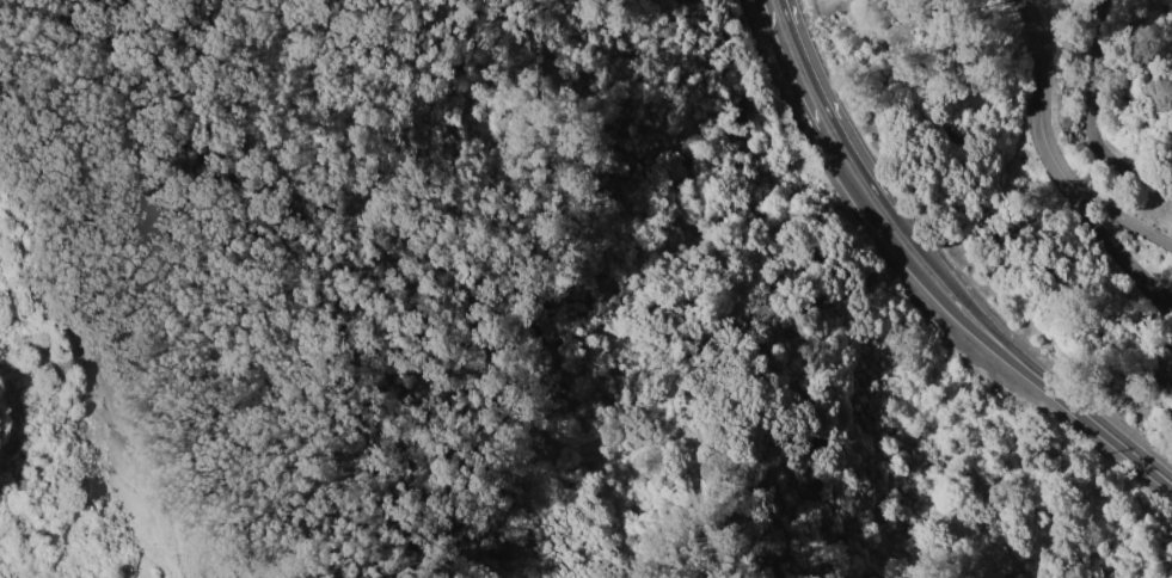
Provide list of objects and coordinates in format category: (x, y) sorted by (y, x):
road: (1039, 93)
road: (139, 96)
road: (1090, 119)
road: (1119, 215)
road: (1117, 250)
road: (928, 277)
road: (473, 301)
road: (122, 394)

